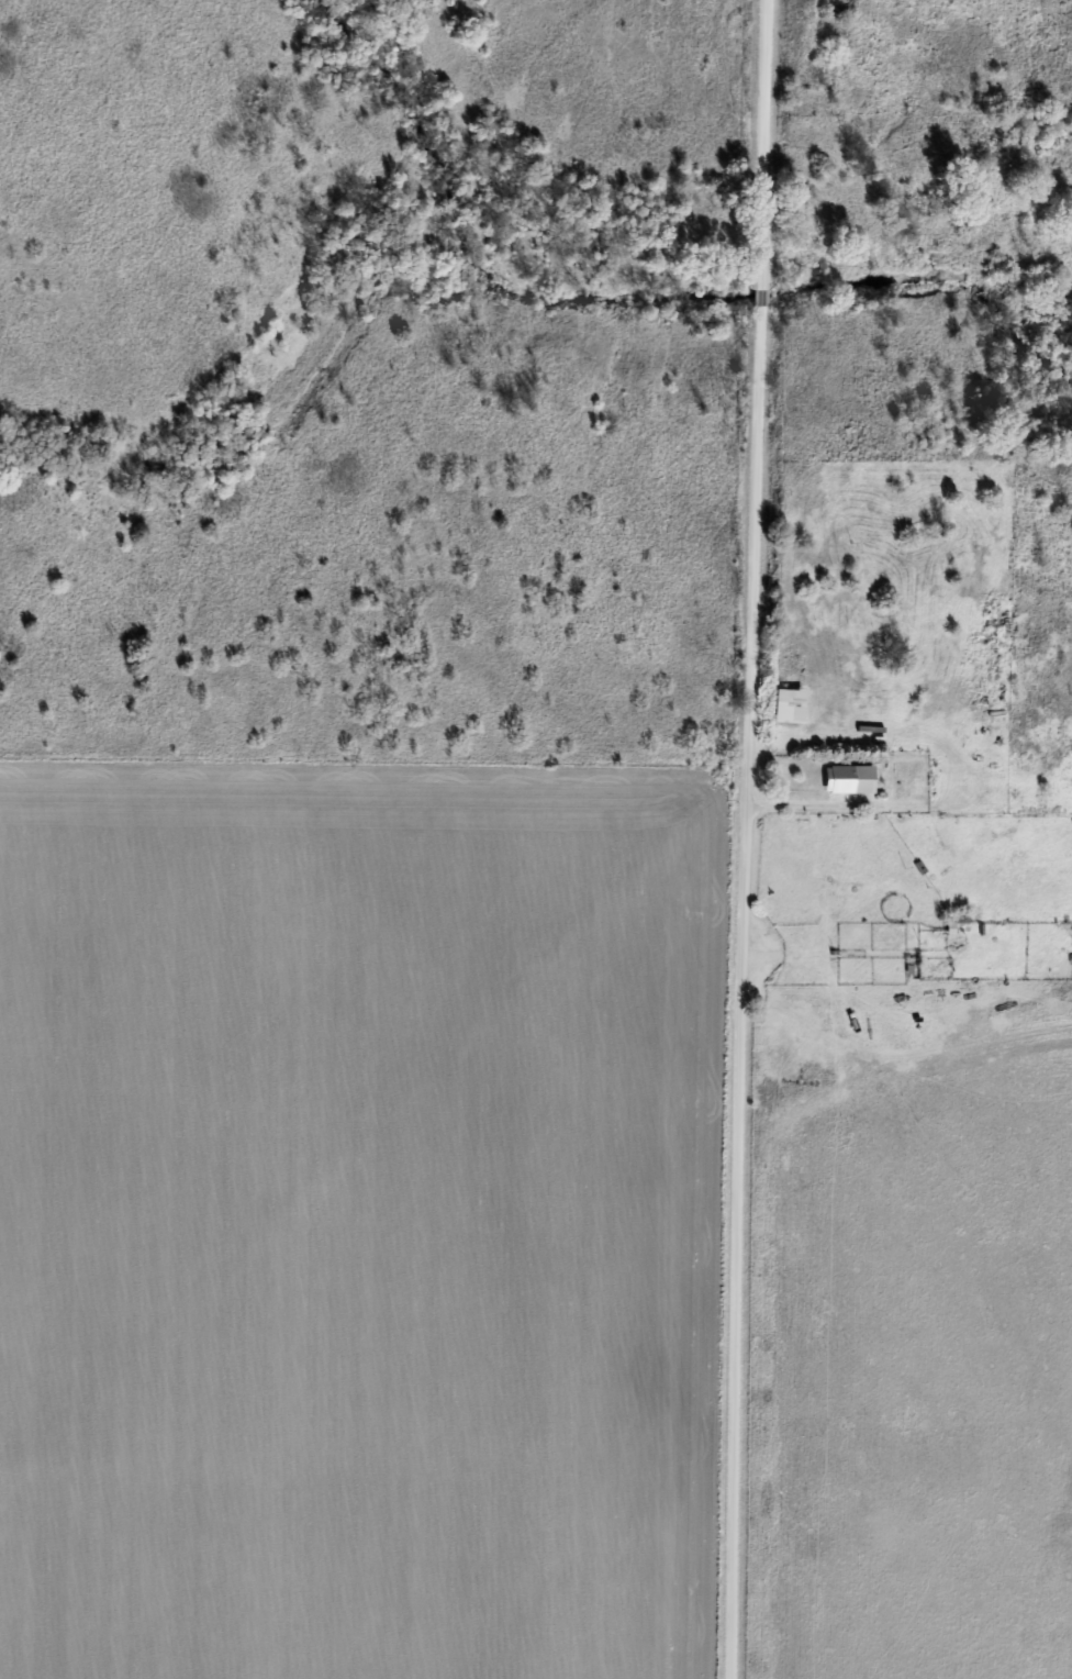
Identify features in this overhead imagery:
building: (788, 707)
building: (848, 780)
road: (751, 838)

